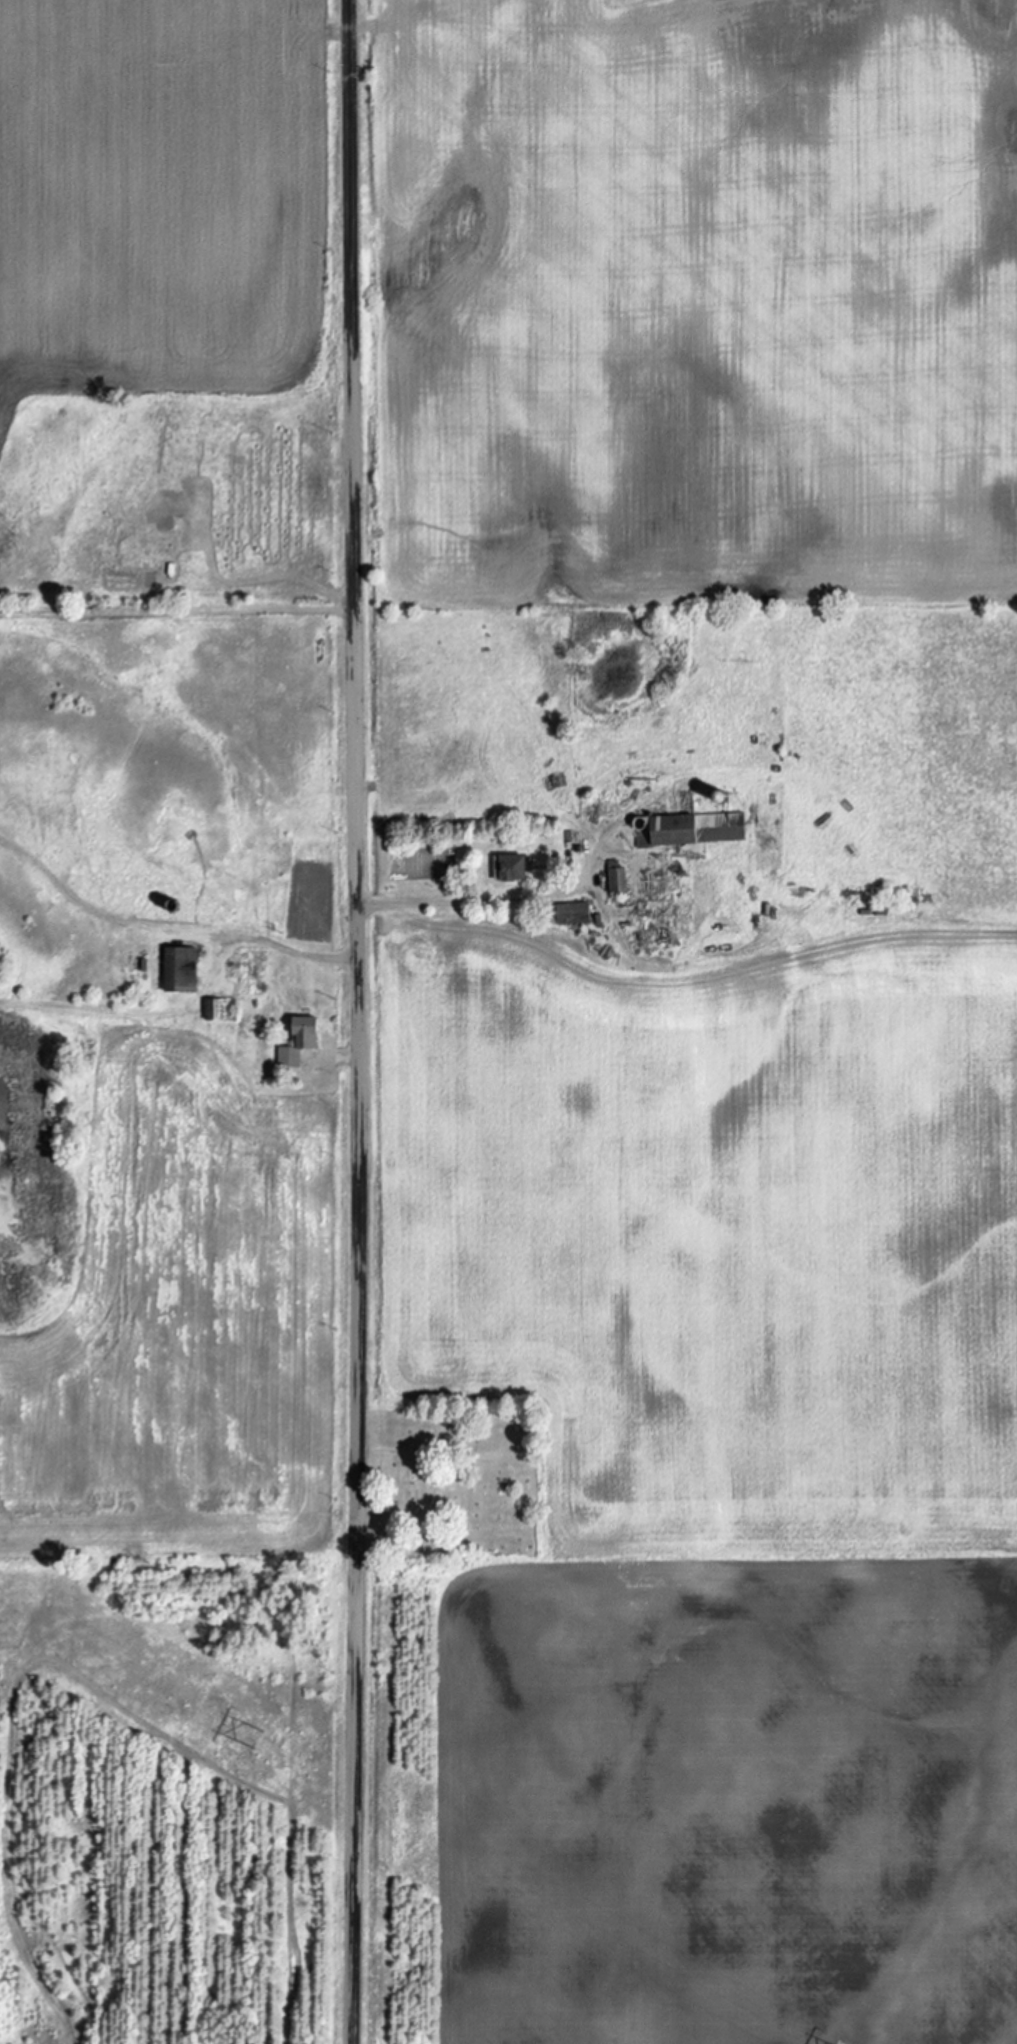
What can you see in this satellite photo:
building: (691, 829)
building: (509, 867)
road: (475, 899)
building: (564, 914)
road: (277, 943)
building: (178, 968)
building: (218, 1009)
road: (357, 1021)
building: (298, 1043)
park: (457, 1482)
power tower: (260, 1743)

